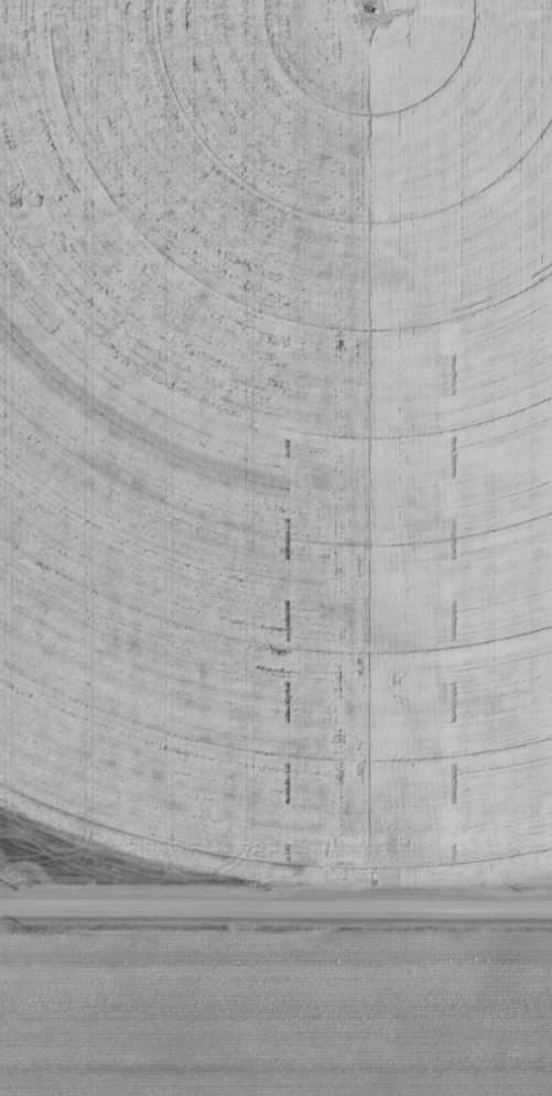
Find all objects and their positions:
road: (275, 873)

